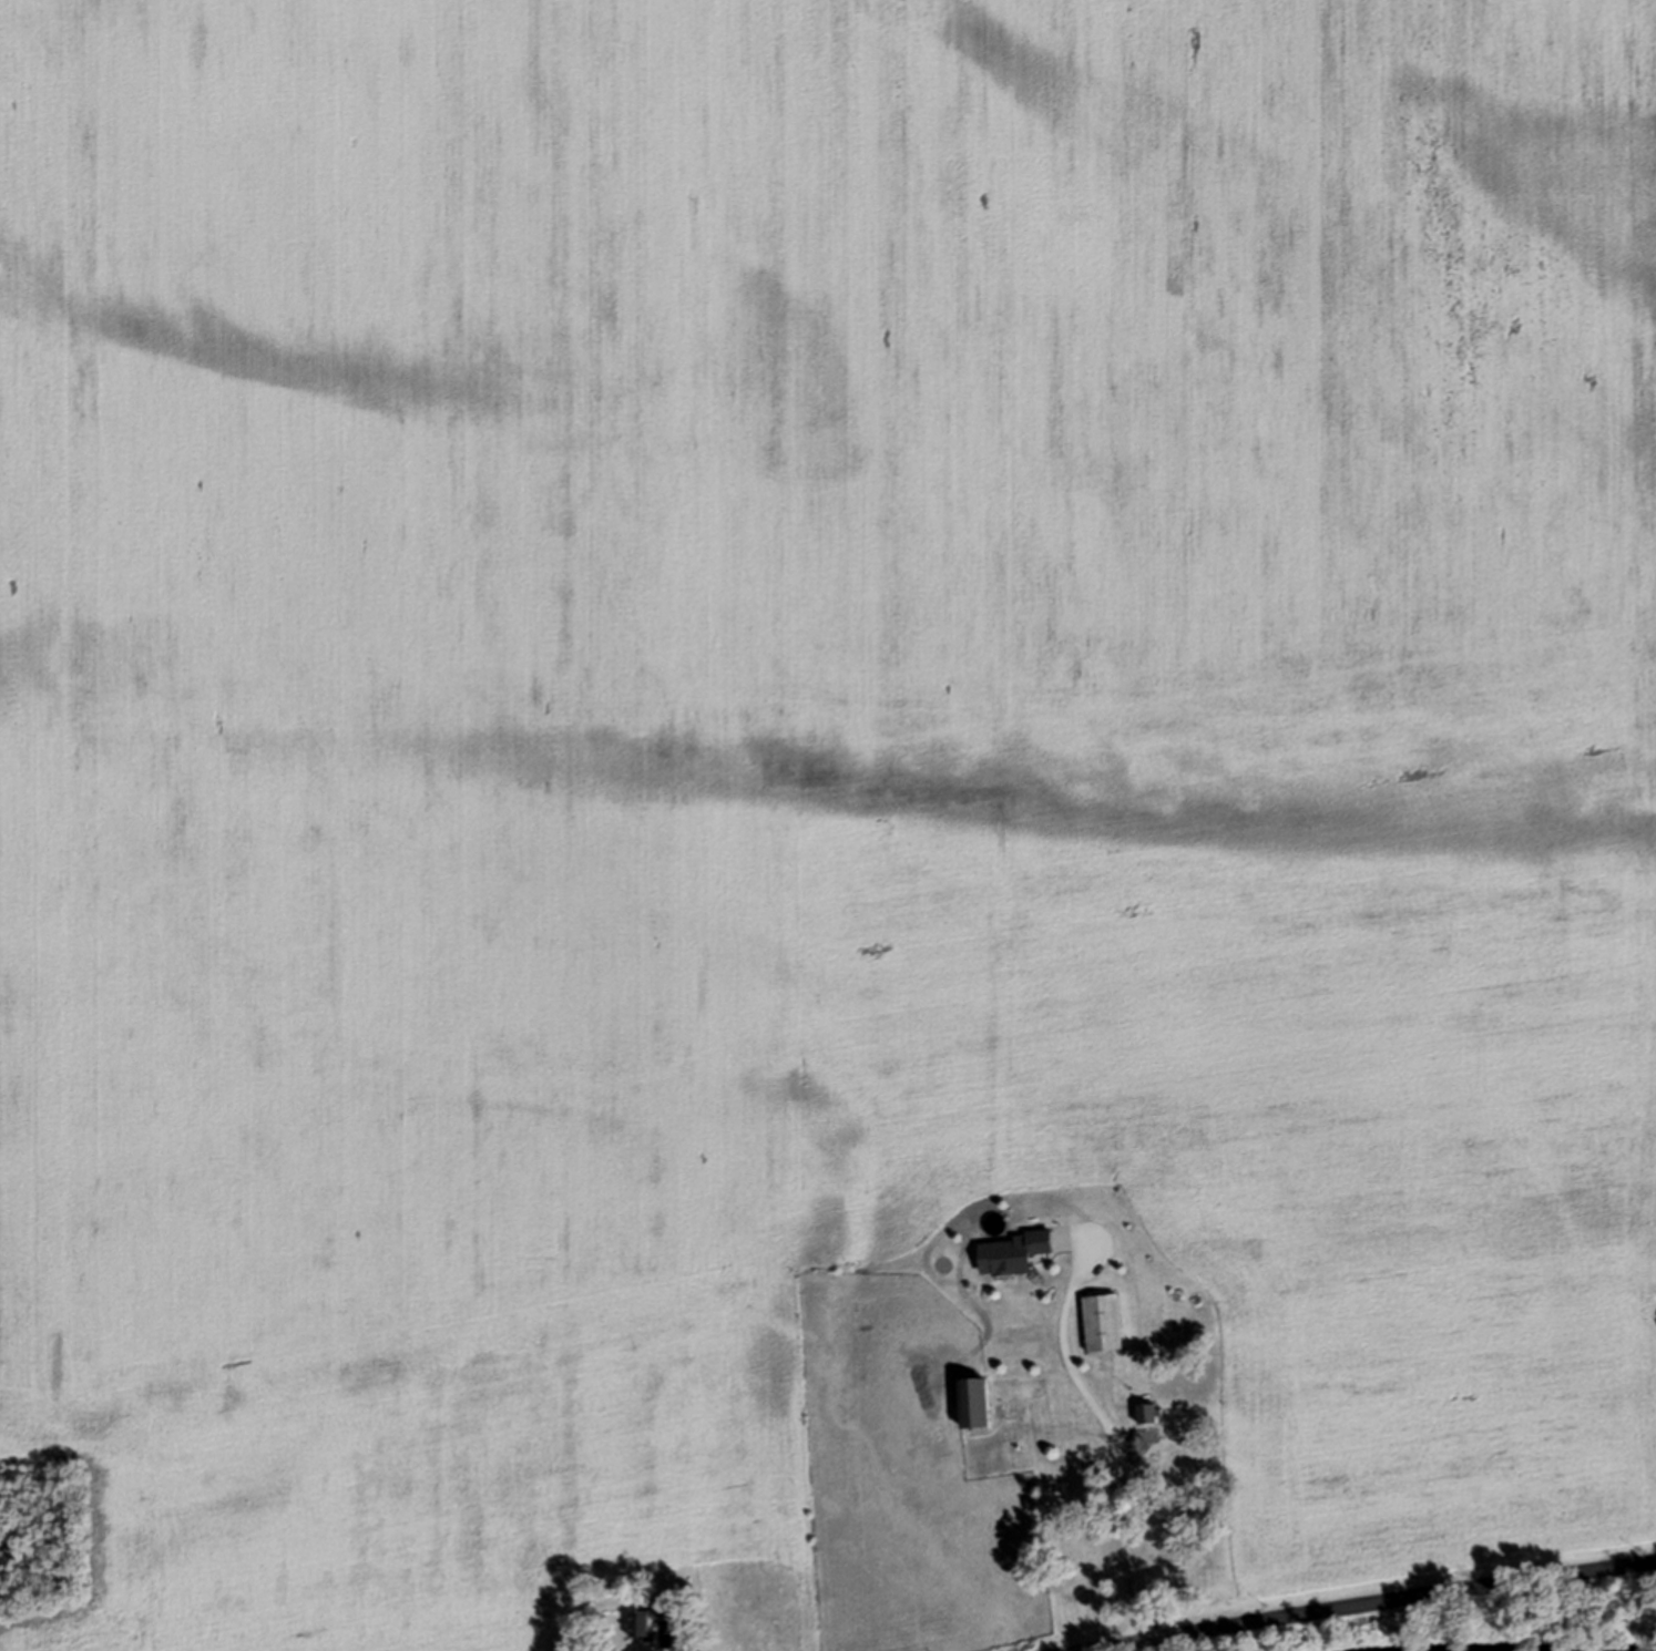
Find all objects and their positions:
building: (1104, 1322)
building: (977, 1402)
building: (1151, 1413)
road: (1113, 1437)
building: (1176, 1450)
road: (1390, 1608)
building: (651, 1617)
road: (663, 1638)

